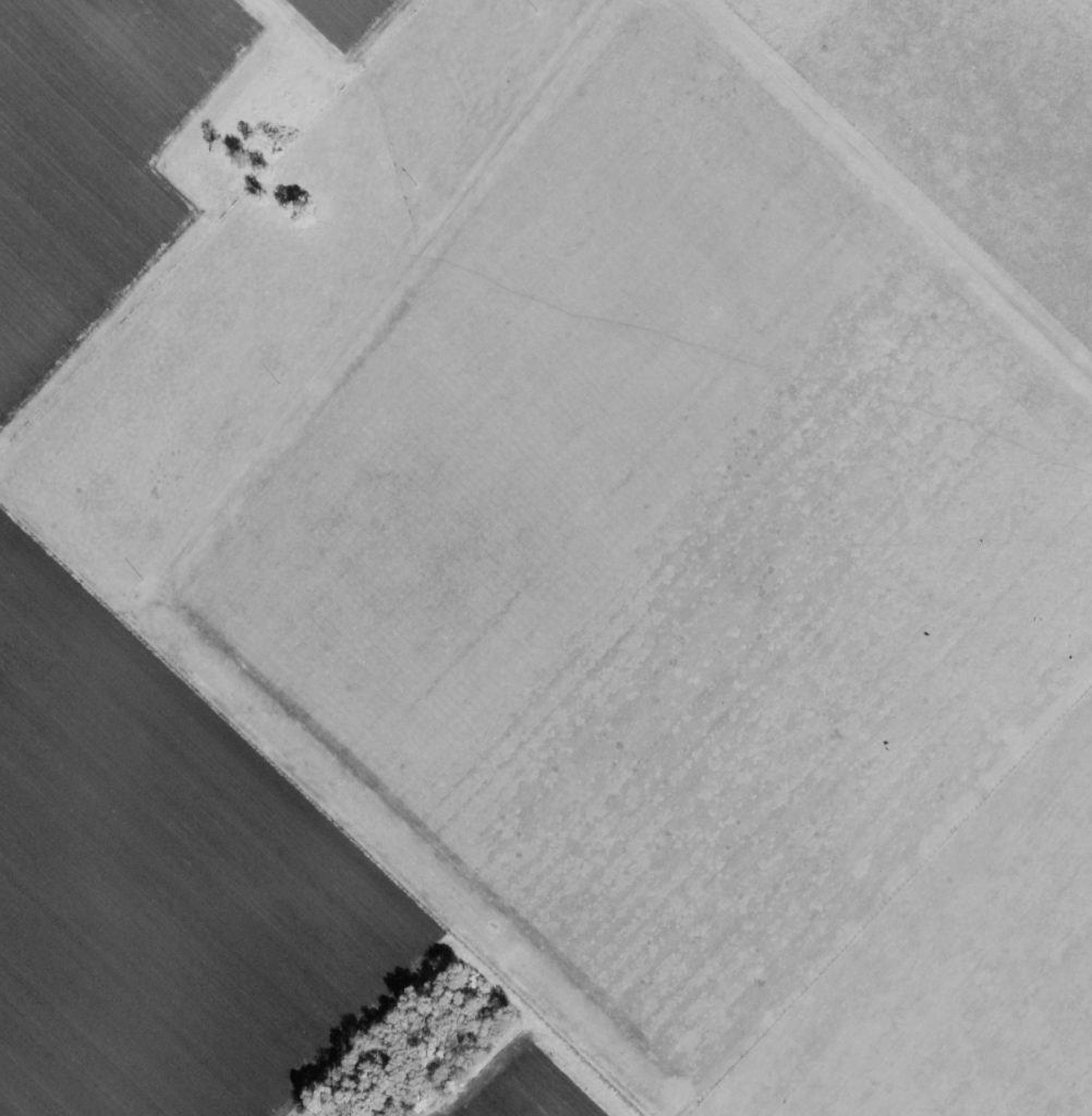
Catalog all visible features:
road: (344, 66)
road: (900, 185)

